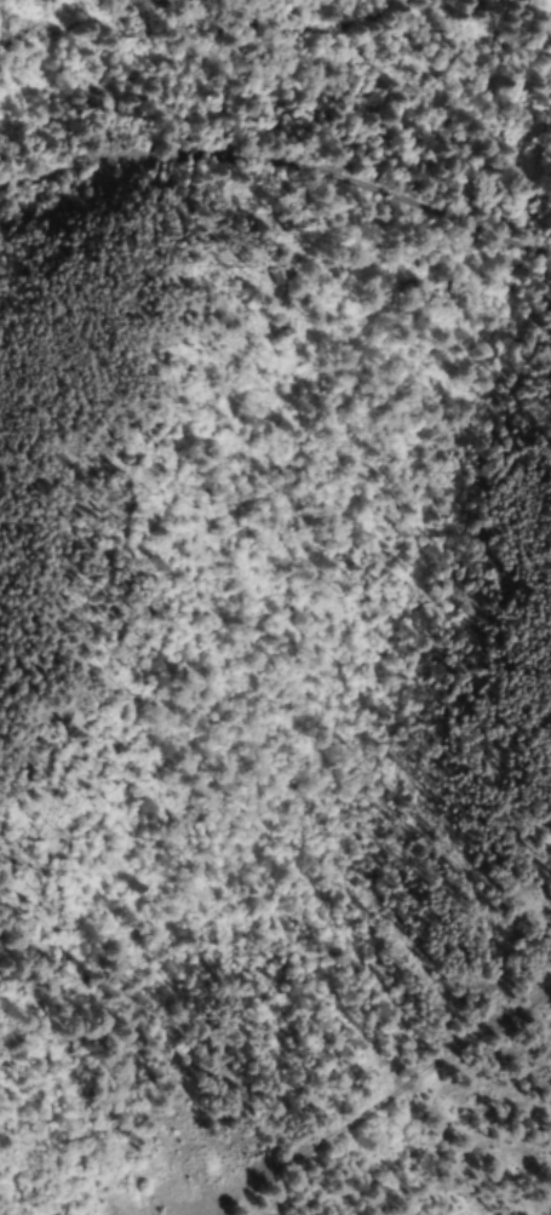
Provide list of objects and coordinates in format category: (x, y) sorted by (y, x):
road: (279, 178)

